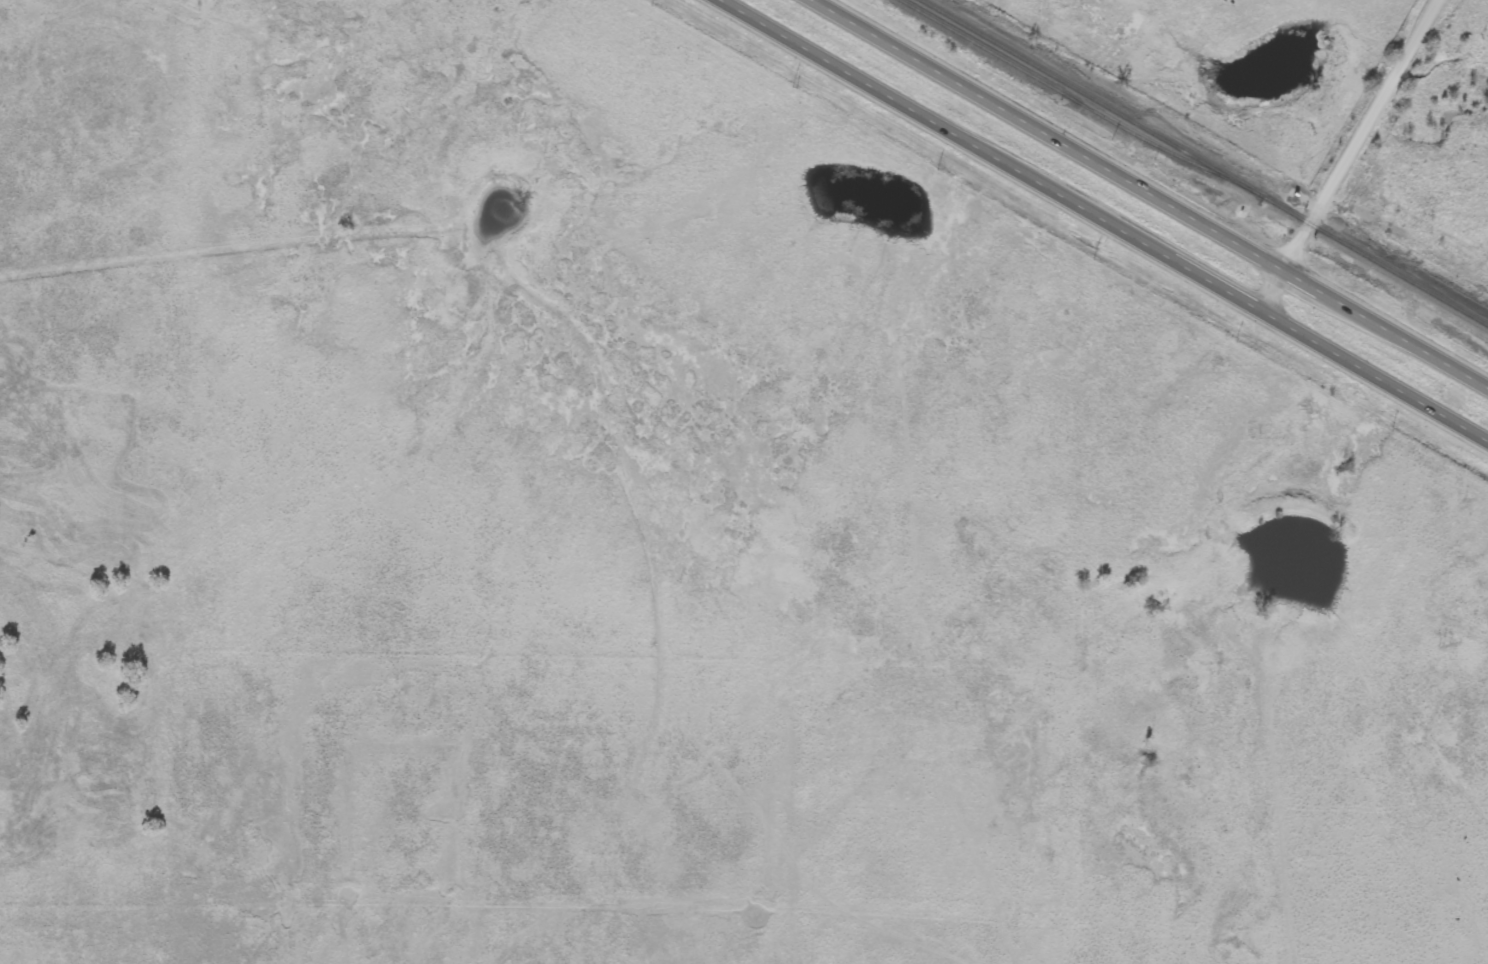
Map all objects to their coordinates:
railway: (1065, 96)
road: (1346, 158)
railway: (1203, 163)
road: (1145, 198)
road: (1103, 225)

